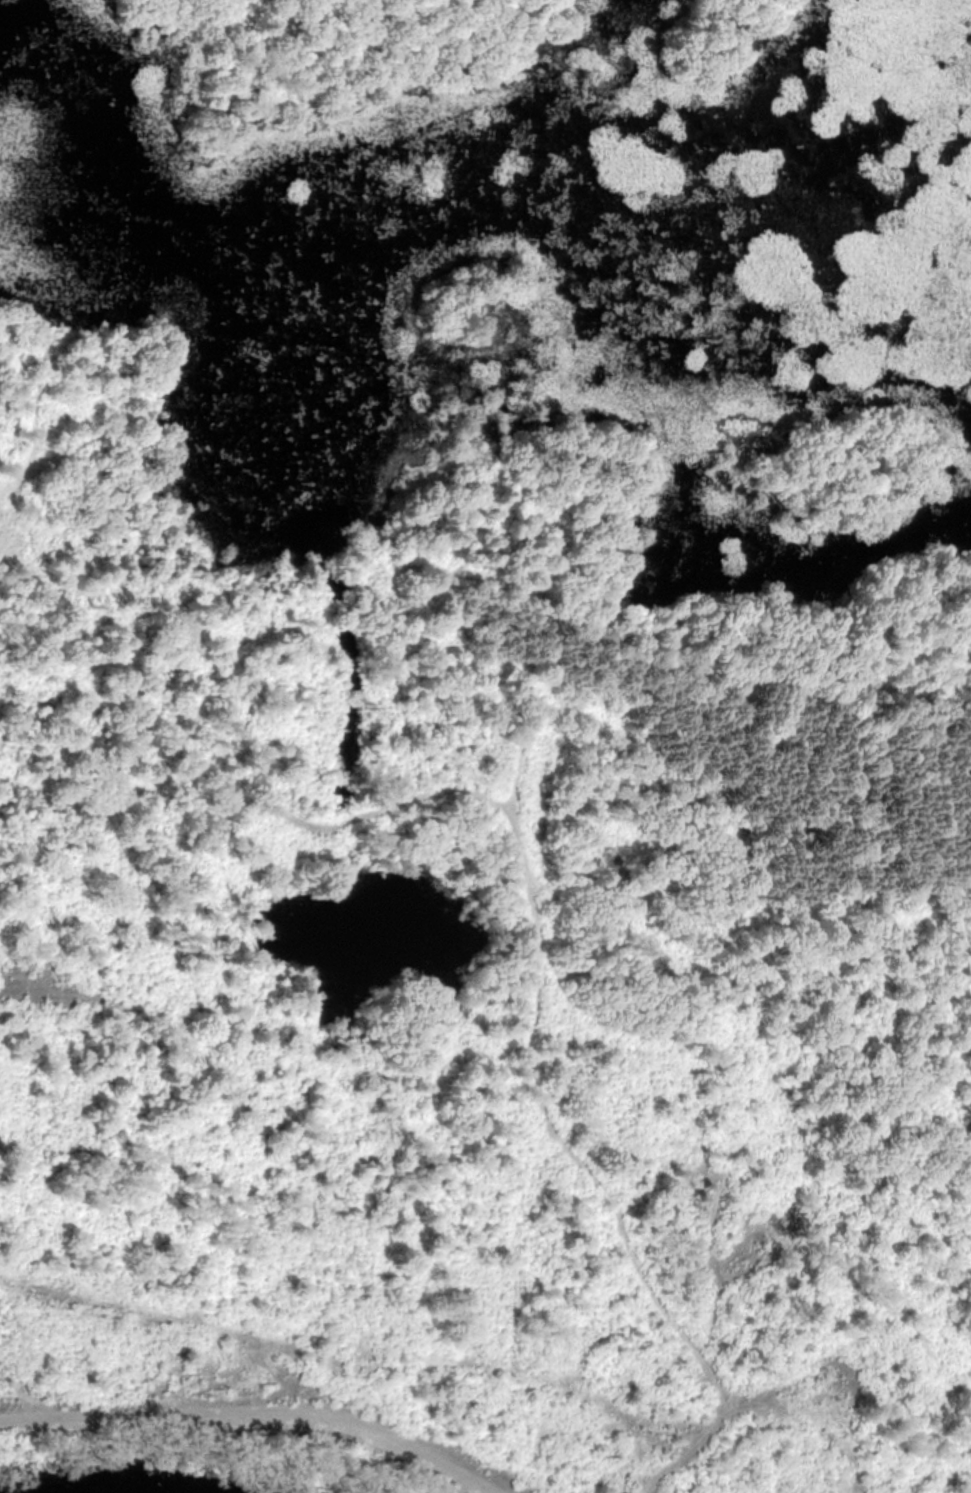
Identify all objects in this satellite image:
road: (260, 1407)

